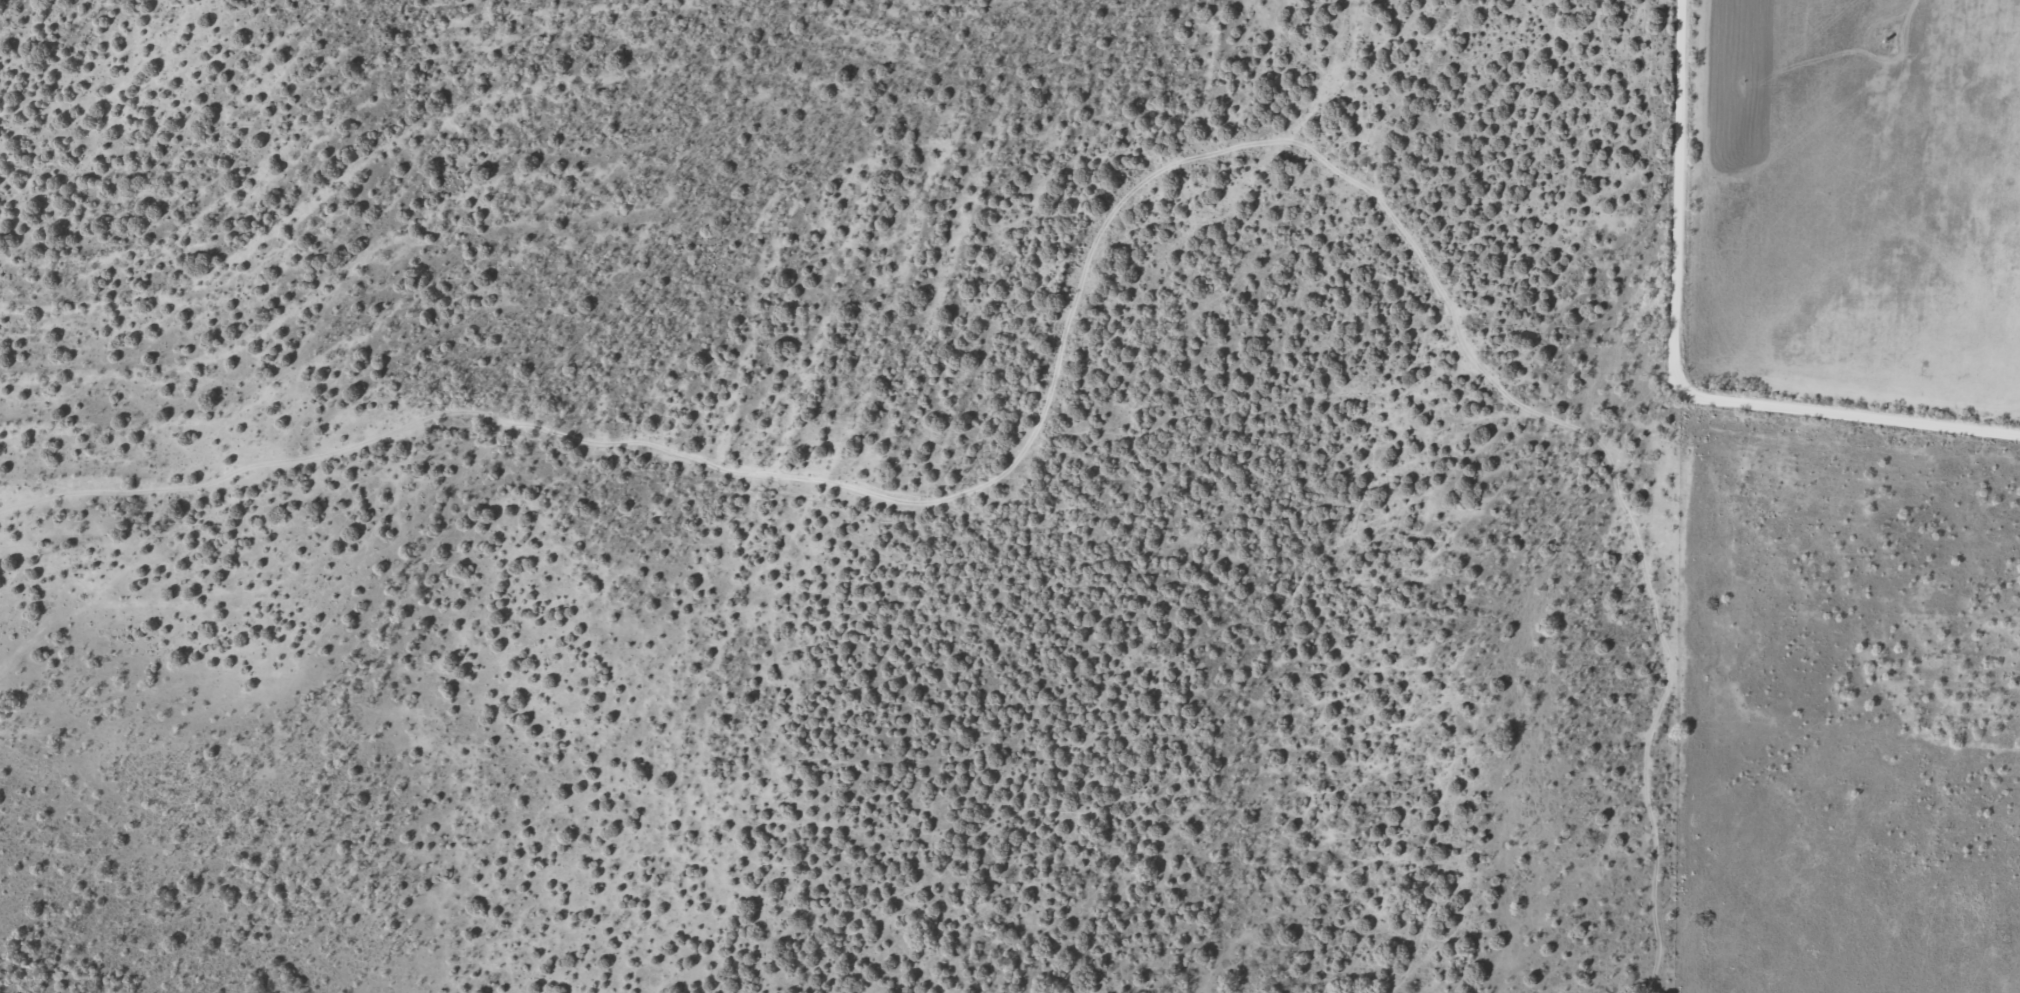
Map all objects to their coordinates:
road: (1679, 363)

